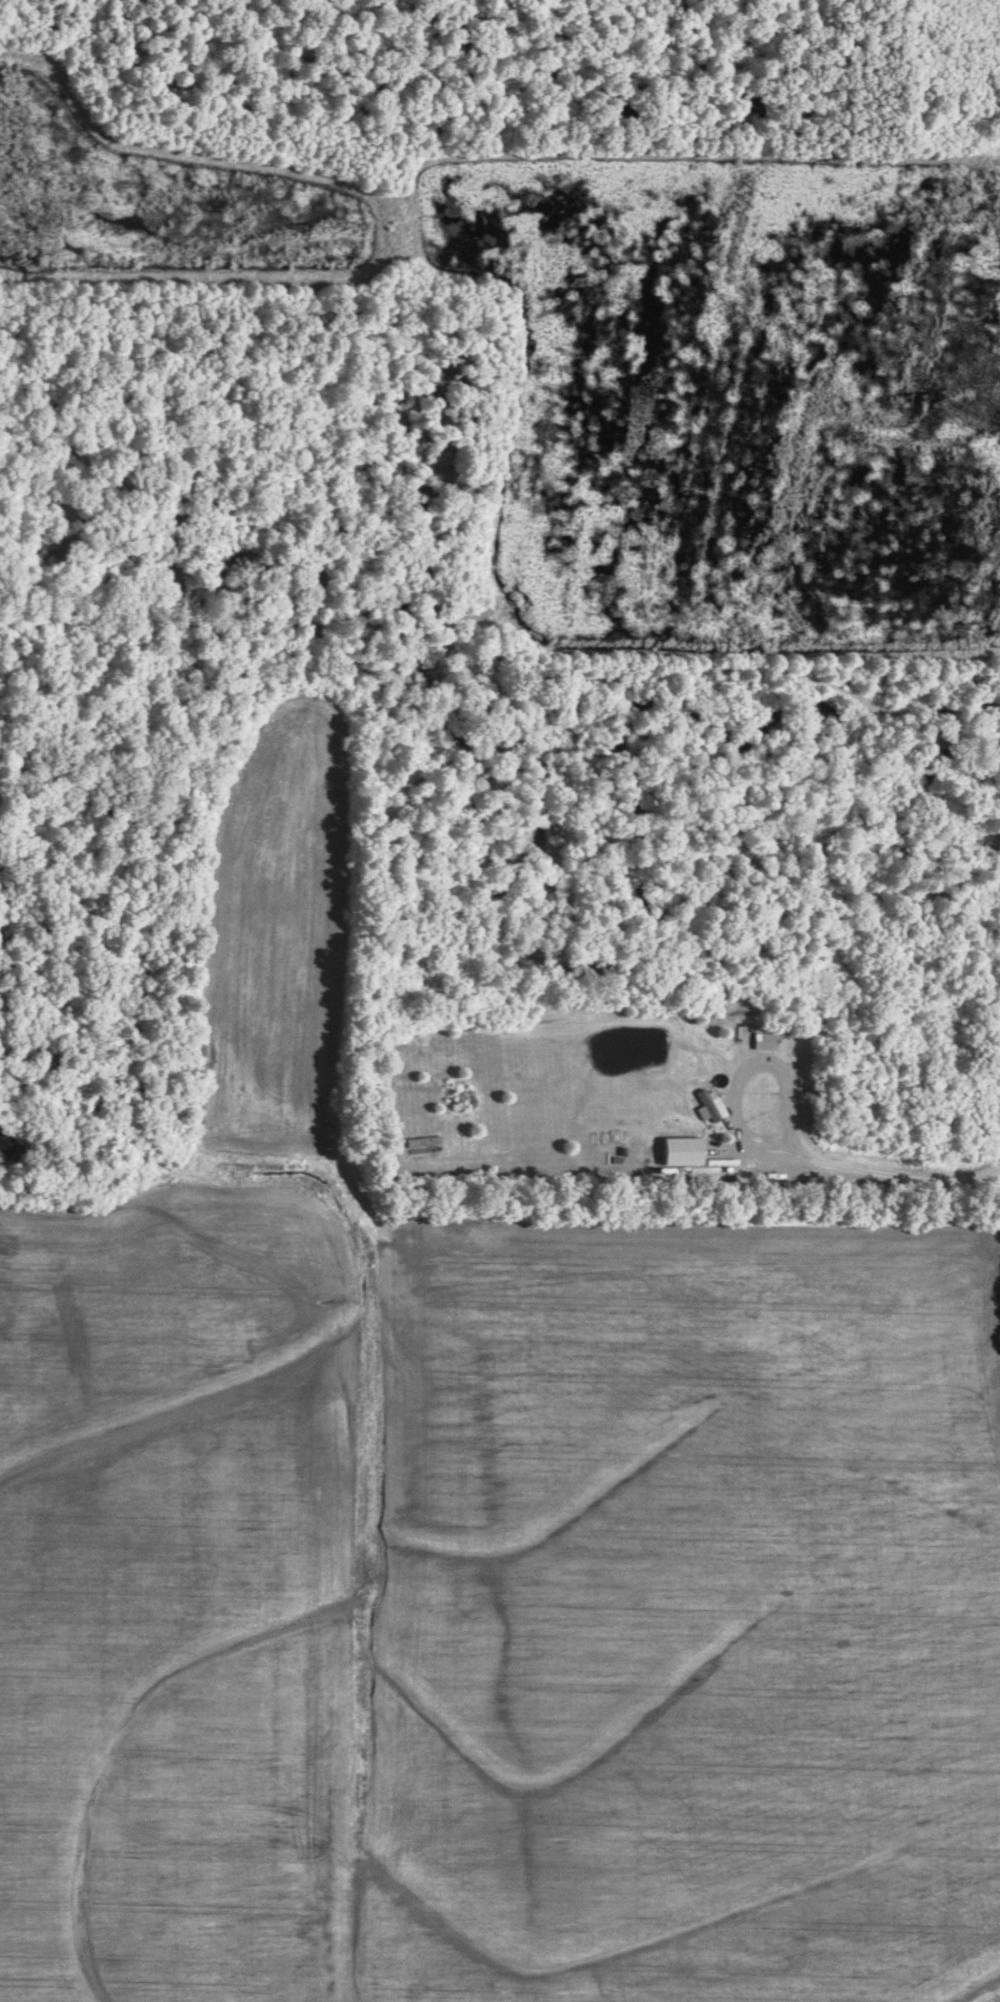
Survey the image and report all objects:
building: (764, 1037)
road: (748, 1062)
building: (709, 1102)
building: (680, 1149)
road: (895, 1171)

